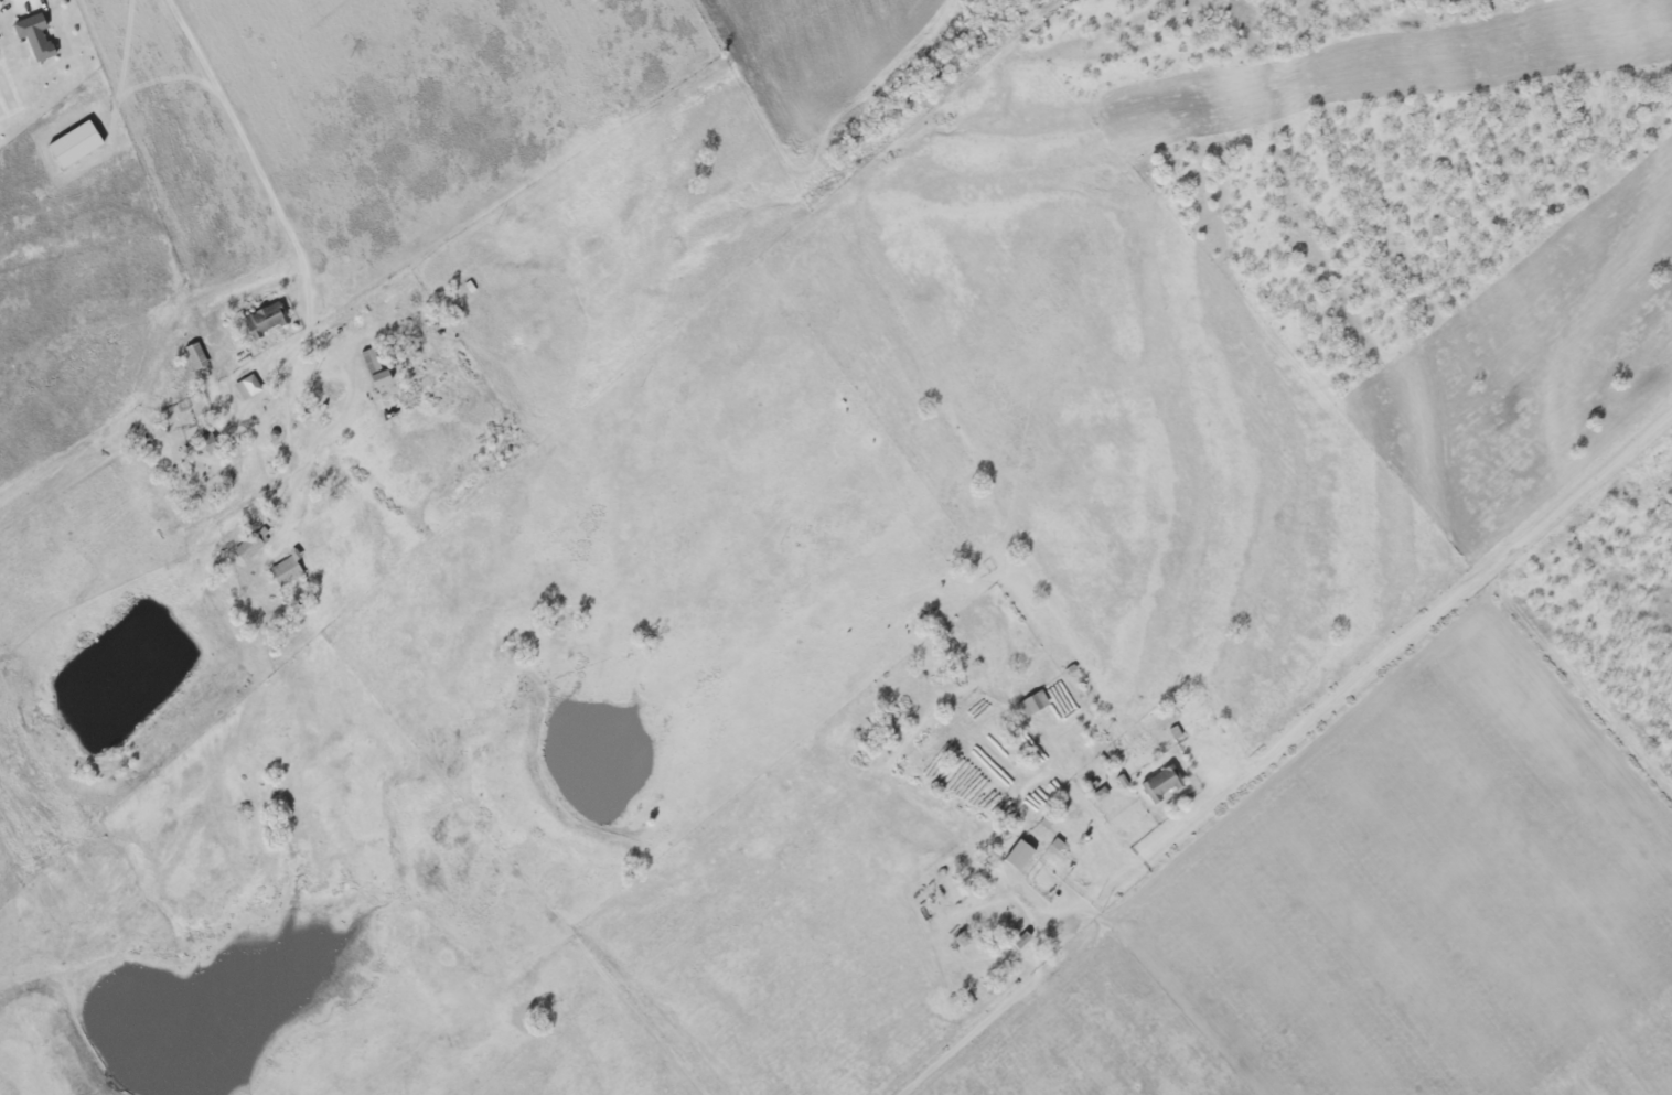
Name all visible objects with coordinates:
road: (24, 1)
building: (34, 36)
road: (243, 139)
building: (265, 319)
building: (379, 378)
building: (247, 387)
building: (253, 545)
building: (286, 571)
road: (1373, 663)
building: (1033, 704)
building: (1160, 784)
building: (1018, 856)

